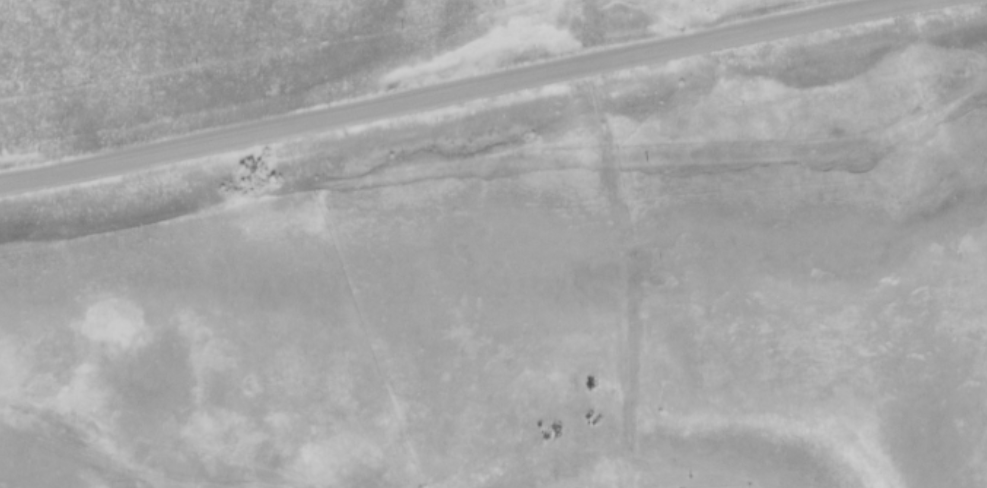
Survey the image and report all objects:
road: (469, 89)

